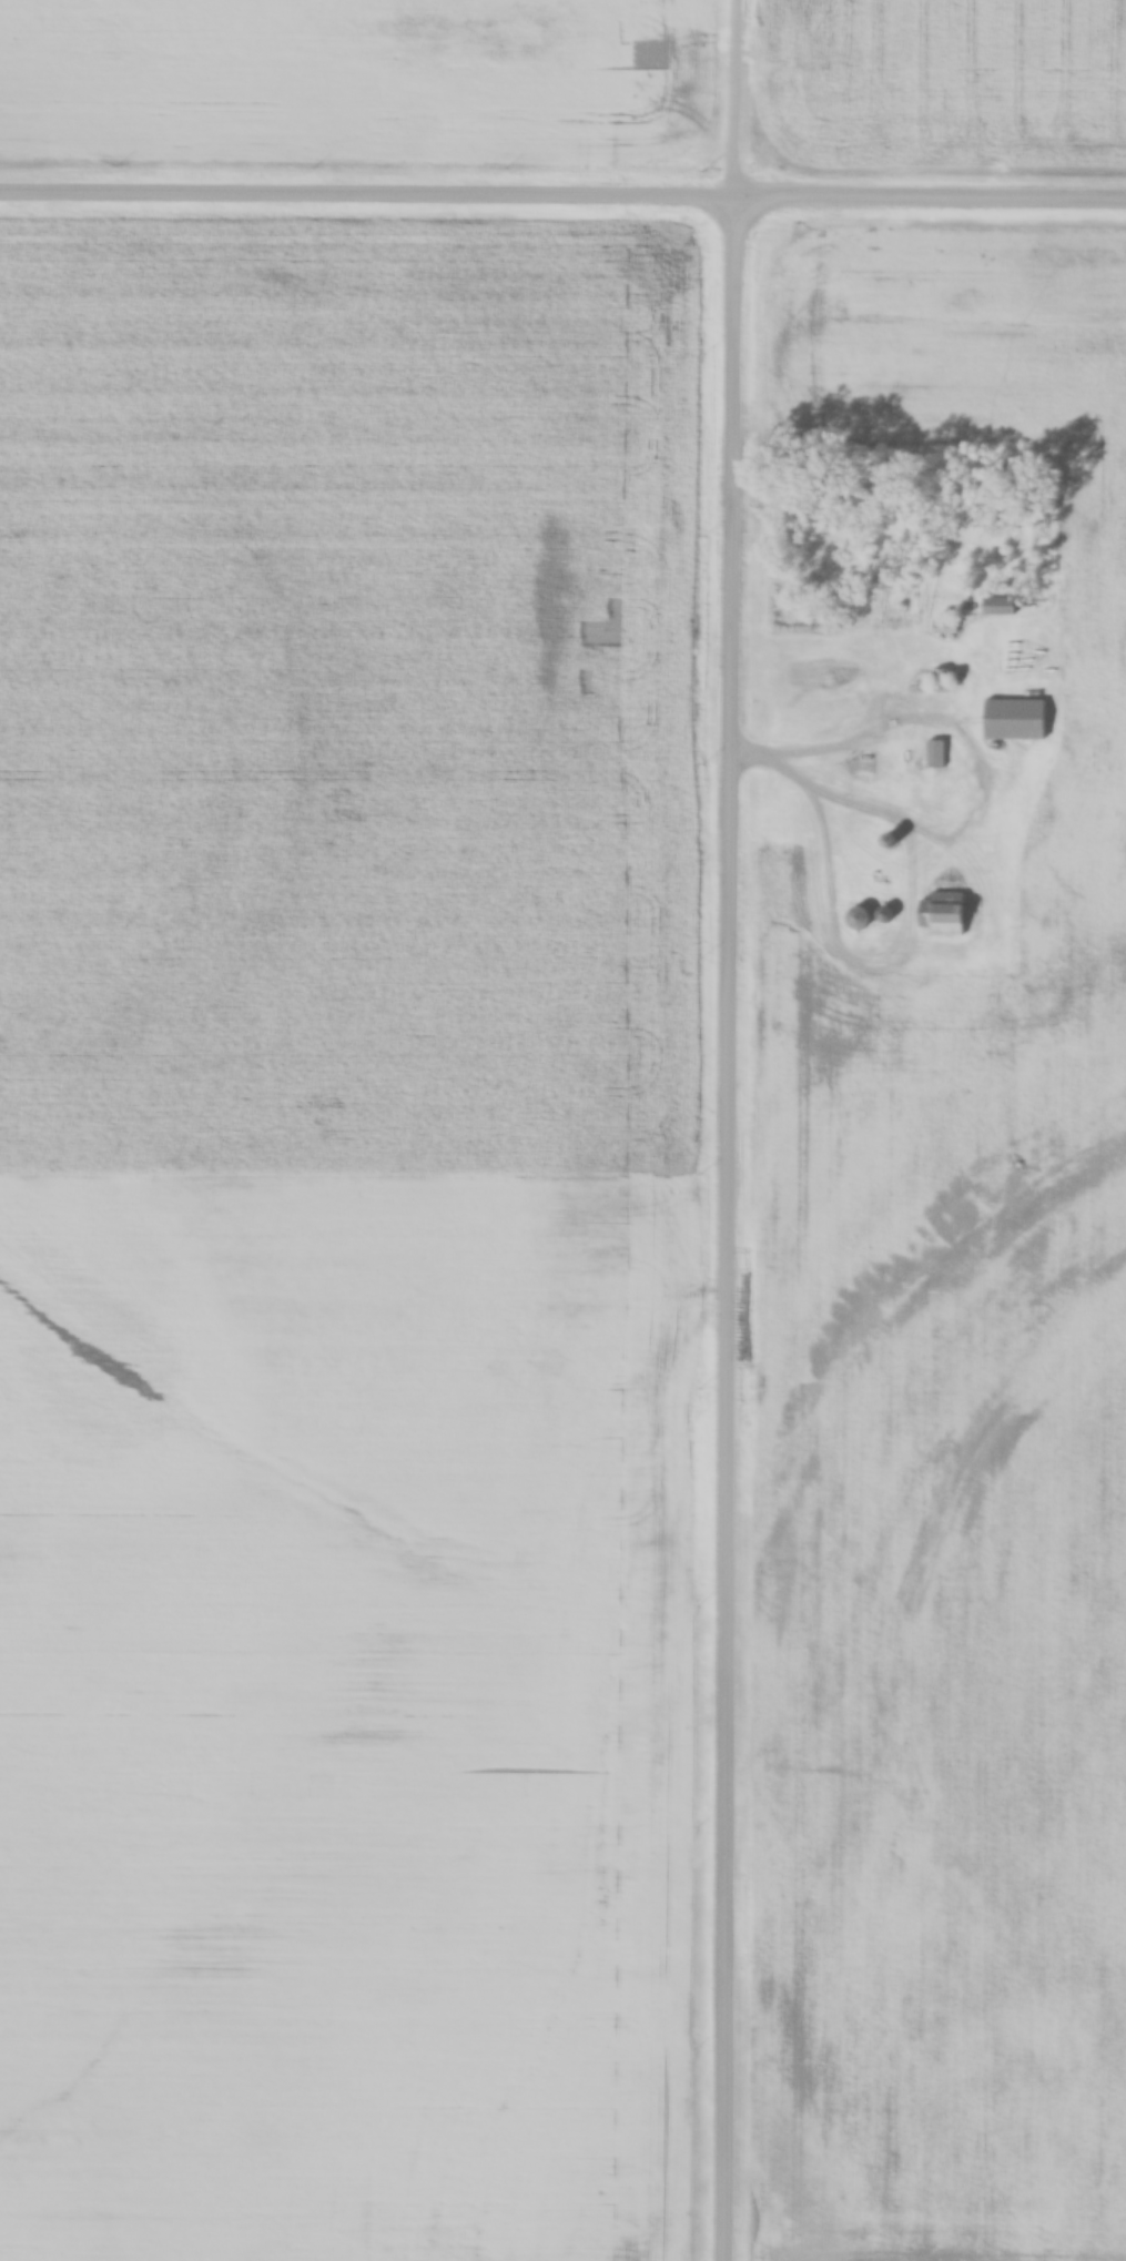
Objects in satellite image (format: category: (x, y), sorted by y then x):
road: (562, 197)
building: (998, 607)
building: (944, 627)
building: (940, 679)
building: (1015, 720)
building: (935, 754)
building: (944, 915)
building: (860, 920)
building: (892, 940)
road: (732, 1130)

